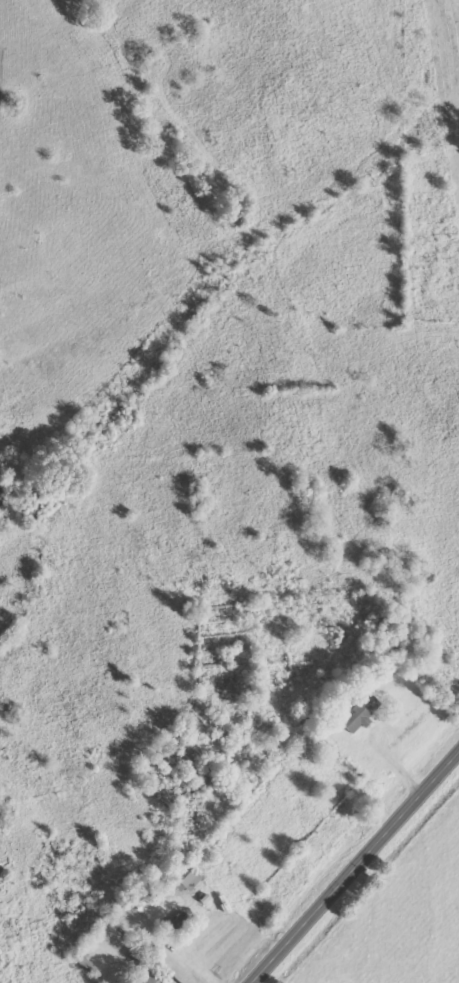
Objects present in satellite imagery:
building: (357, 714)
road: (354, 866)
building: (185, 880)
building: (149, 980)

